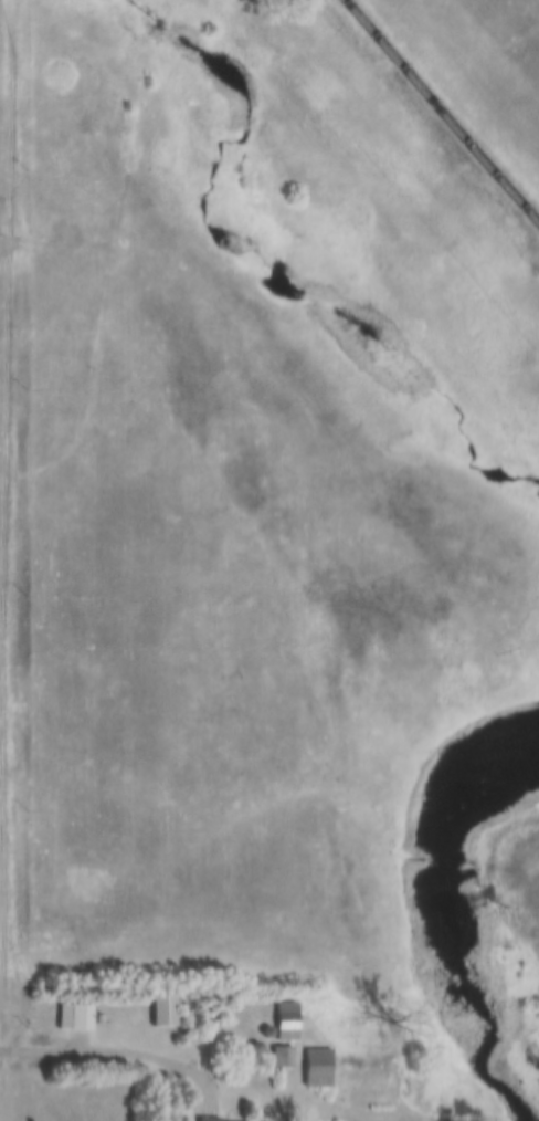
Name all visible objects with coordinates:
railway: (438, 115)
building: (167, 1012)
building: (77, 1017)
building: (292, 1023)
road: (127, 1048)
building: (287, 1059)
building: (323, 1069)
building: (388, 1080)
building: (213, 1120)

